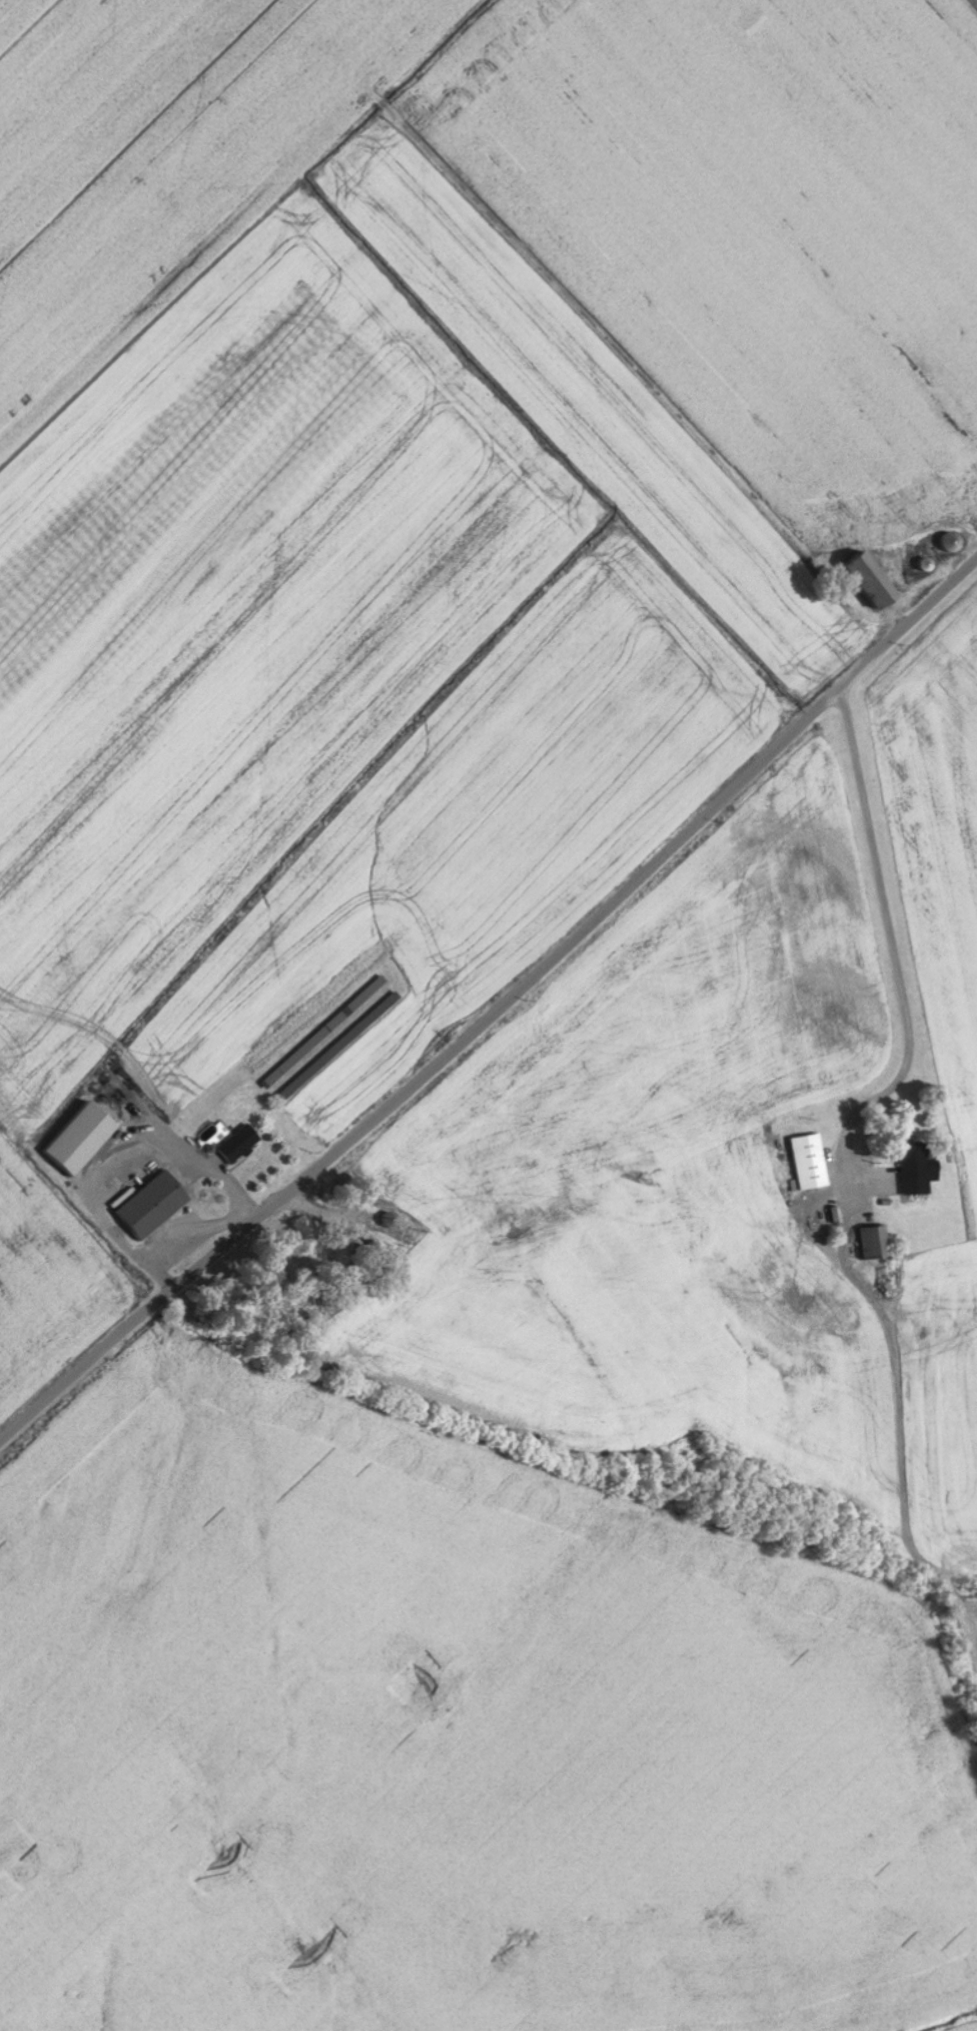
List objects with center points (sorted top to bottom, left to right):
building: (877, 581)
road: (897, 954)
road: (497, 1009)
building: (217, 1137)
building: (84, 1139)
building: (242, 1145)
building: (813, 1162)
building: (921, 1174)
building: (154, 1205)
building: (879, 1244)
road: (10, 1414)

